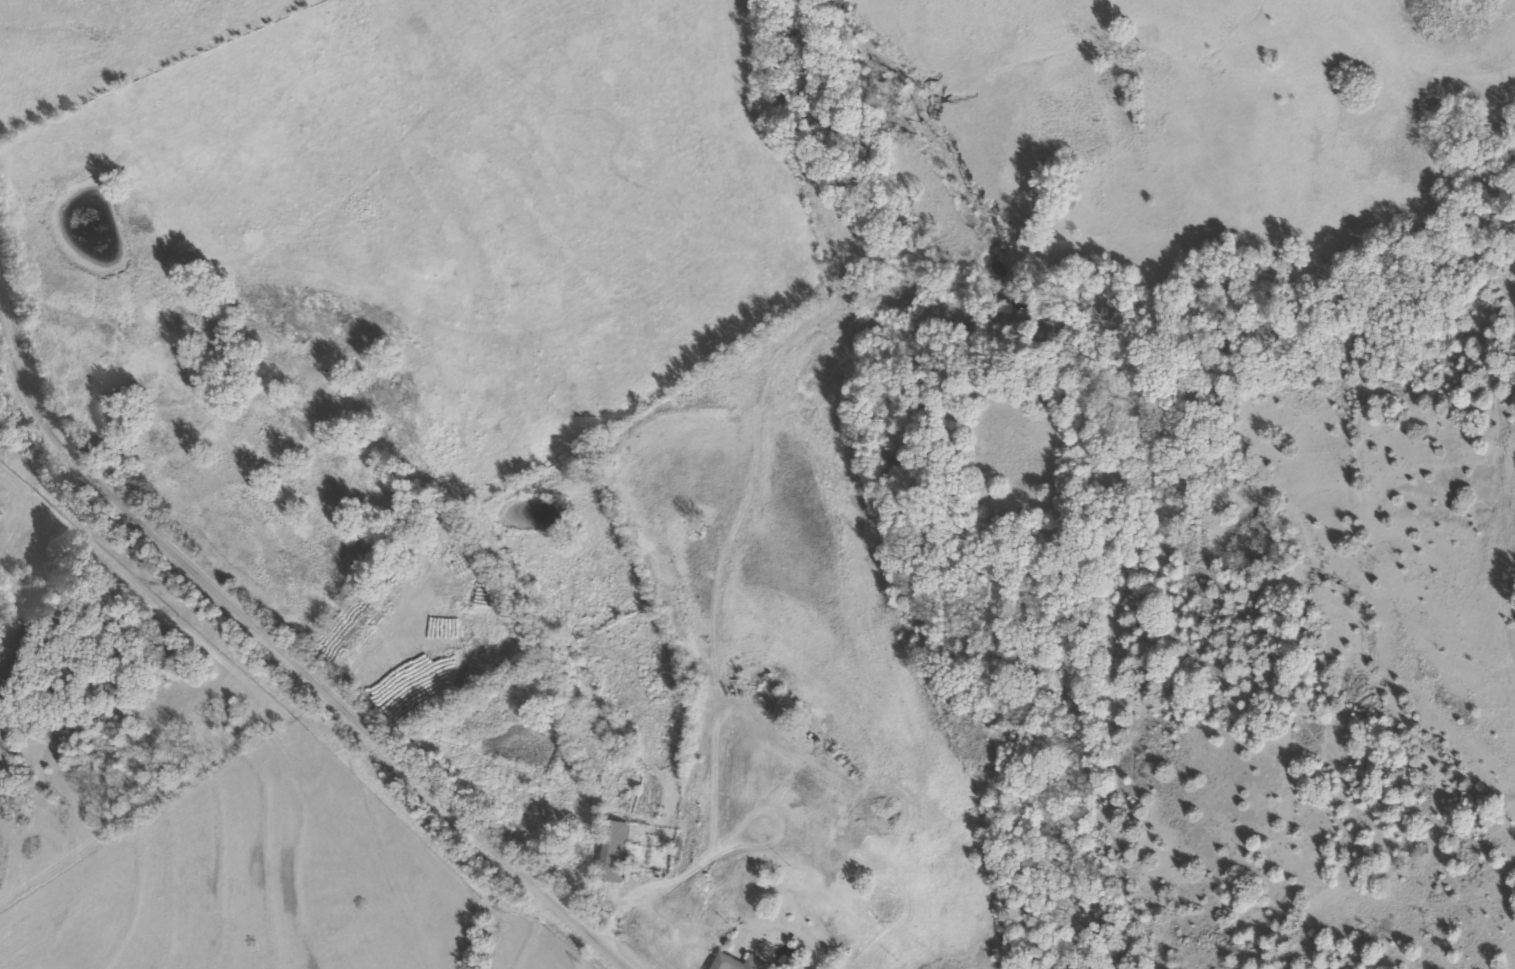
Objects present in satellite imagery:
road: (286, 657)
building: (518, 664)
building: (619, 850)
building: (742, 963)

